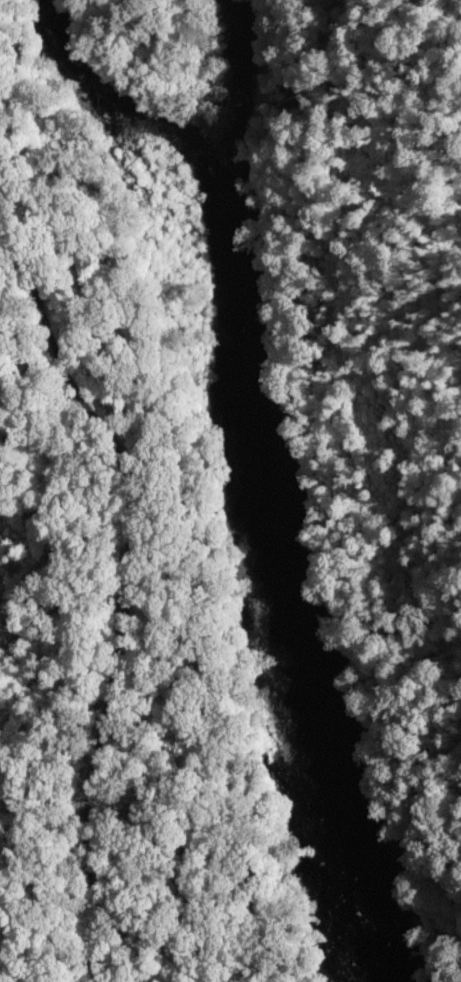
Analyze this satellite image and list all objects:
river: (257, 496)
road: (125, 681)

